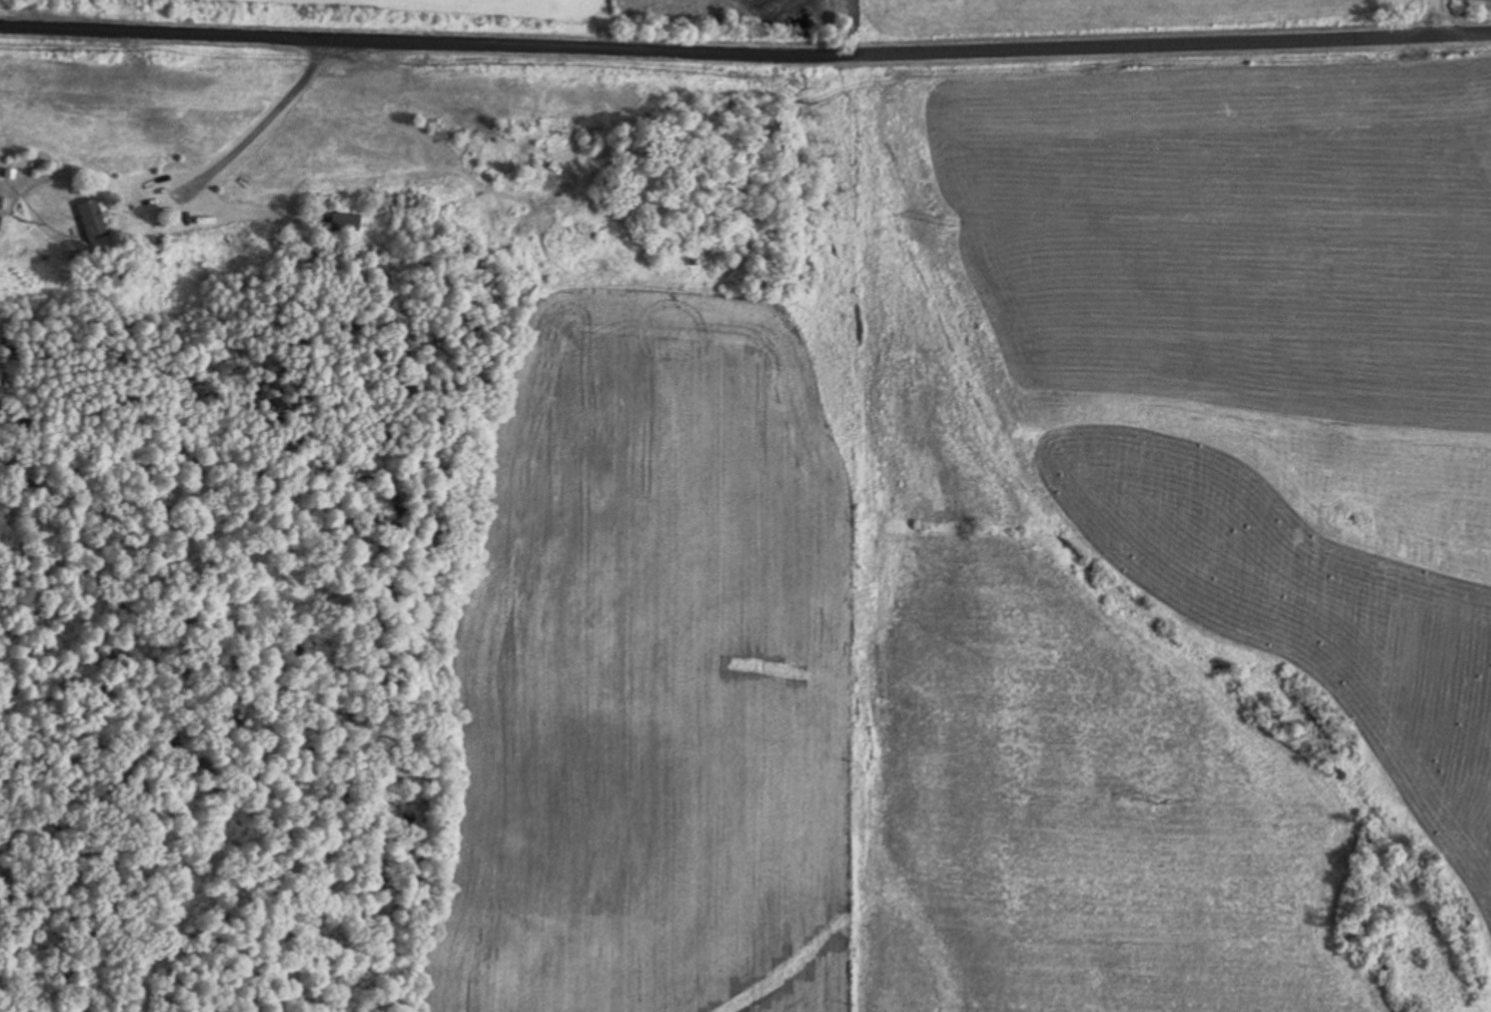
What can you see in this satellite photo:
road: (1431, 18)
road: (745, 59)
road: (268, 112)
building: (94, 217)
building: (346, 221)
power tower: (957, 224)
power tower: (1167, 801)

